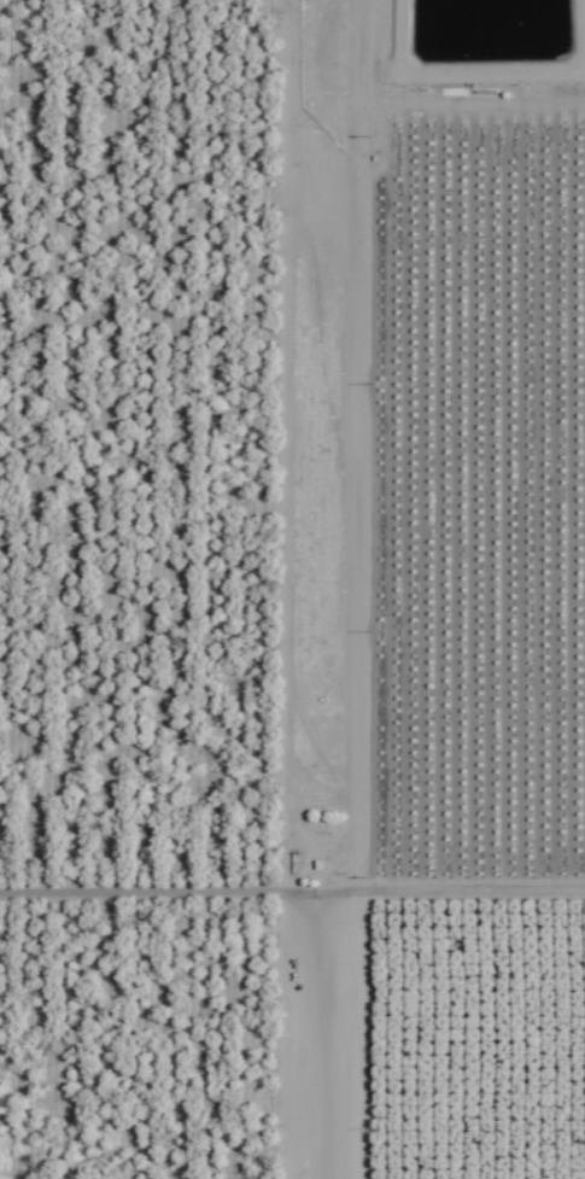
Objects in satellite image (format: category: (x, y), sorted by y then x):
road: (322, 589)
road: (292, 892)

